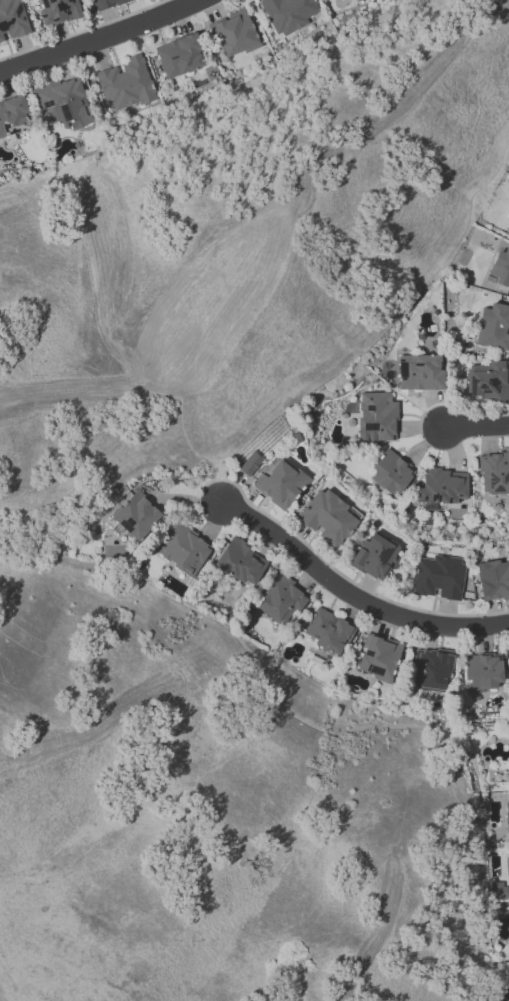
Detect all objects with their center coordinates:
building: (107, 3)
building: (57, 11)
building: (287, 14)
building: (12, 20)
building: (234, 33)
road: (97, 39)
building: (179, 55)
building: (125, 83)
building: (63, 103)
building: (12, 116)
building: (500, 267)
road: (192, 282)
building: (493, 327)
building: (419, 372)
building: (487, 381)
road: (189, 383)
building: (376, 416)
road: (477, 428)
building: (250, 463)
building: (391, 472)
building: (494, 473)
building: (280, 484)
building: (442, 486)
building: (135, 515)
building: (328, 517)
building: (182, 548)
building: (376, 557)
building: (240, 562)
building: (439, 577)
building: (493, 580)
road: (355, 595)
building: (280, 600)
building: (328, 631)
building: (378, 657)
building: (432, 669)
building: (482, 671)
building: (507, 819)
building: (508, 869)
building: (499, 890)

